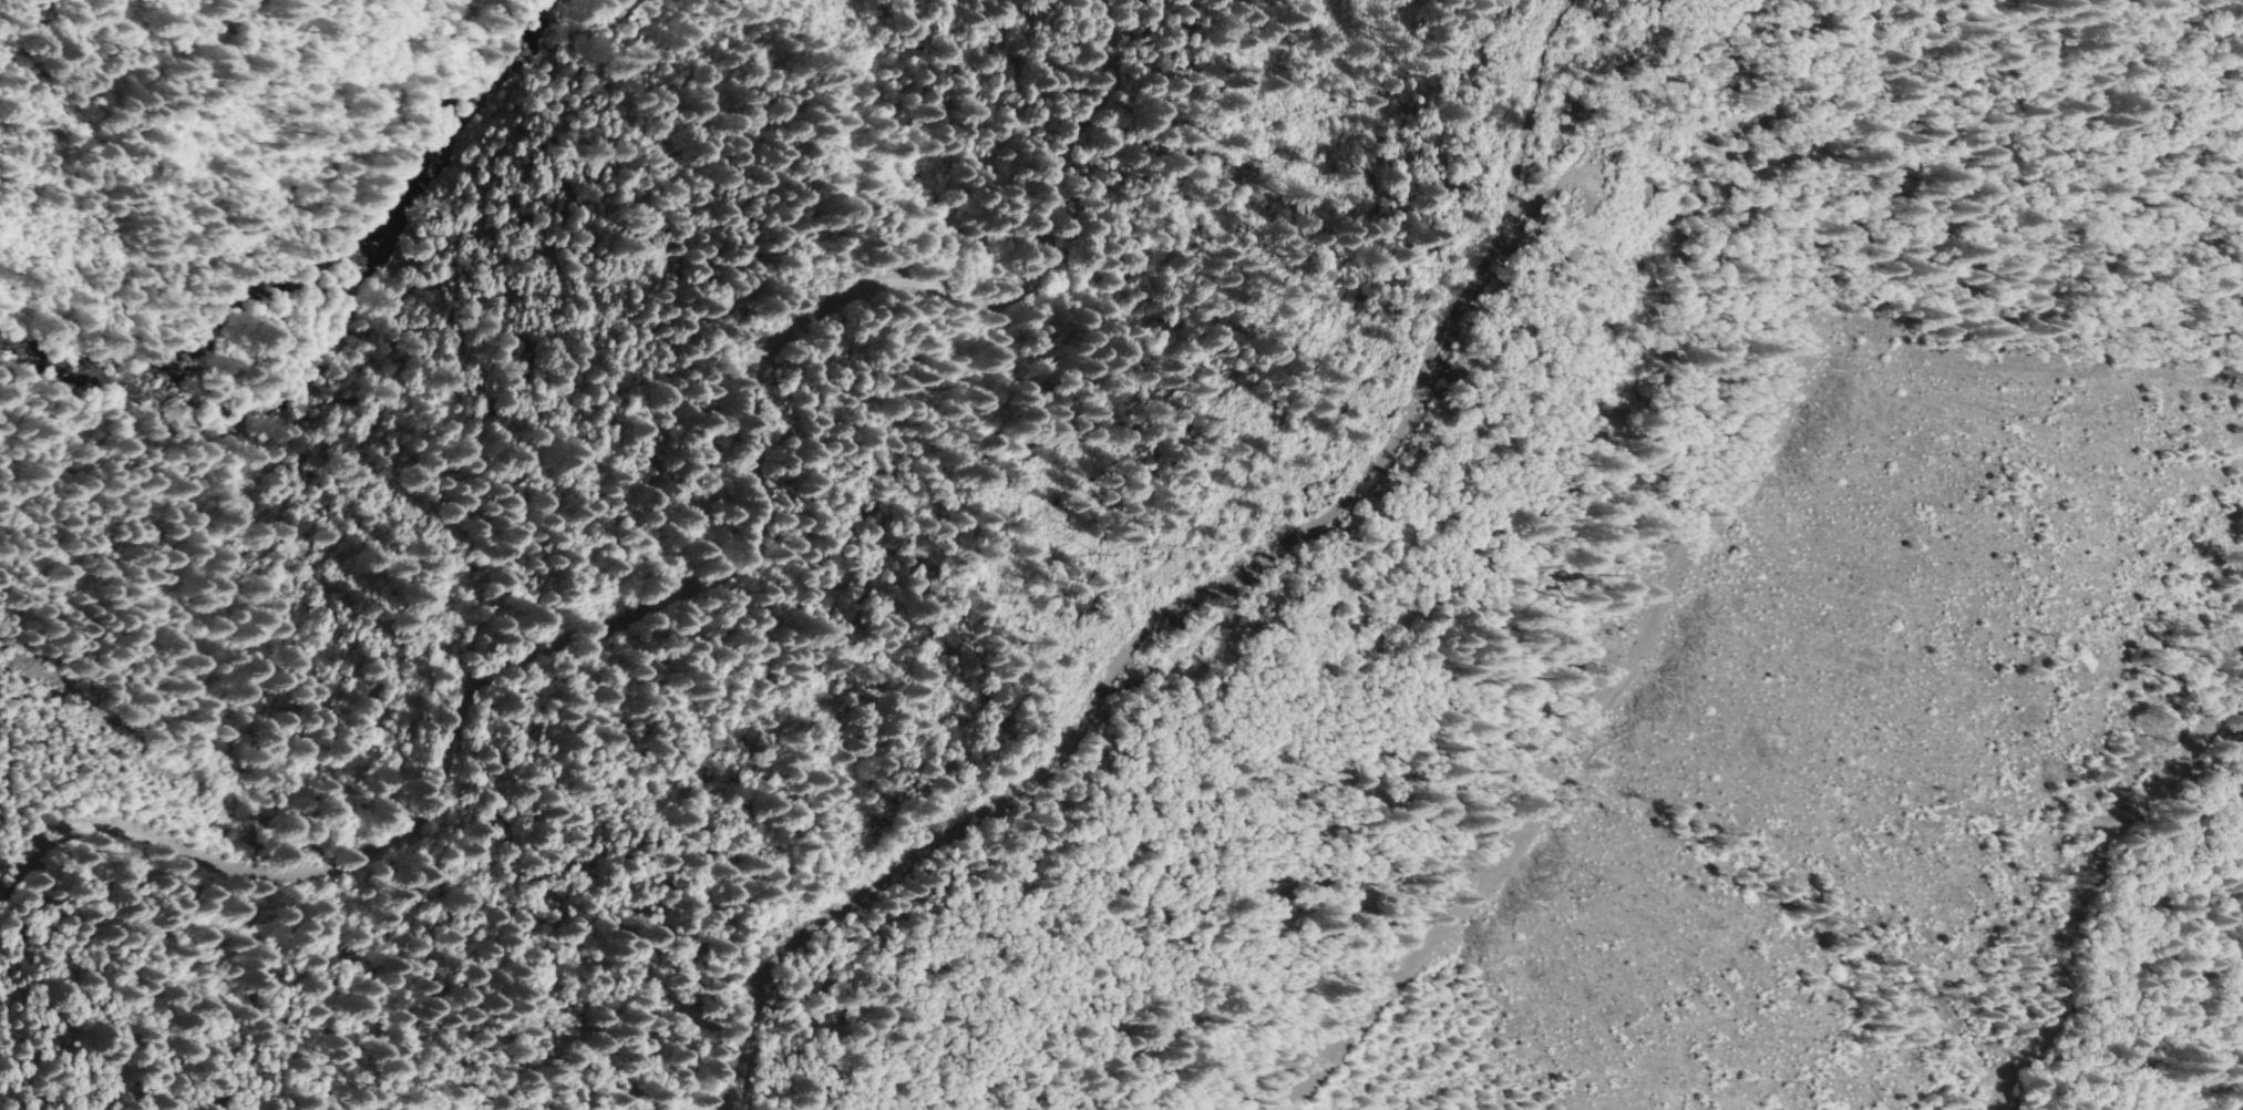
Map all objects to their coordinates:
road: (2070, 864)

